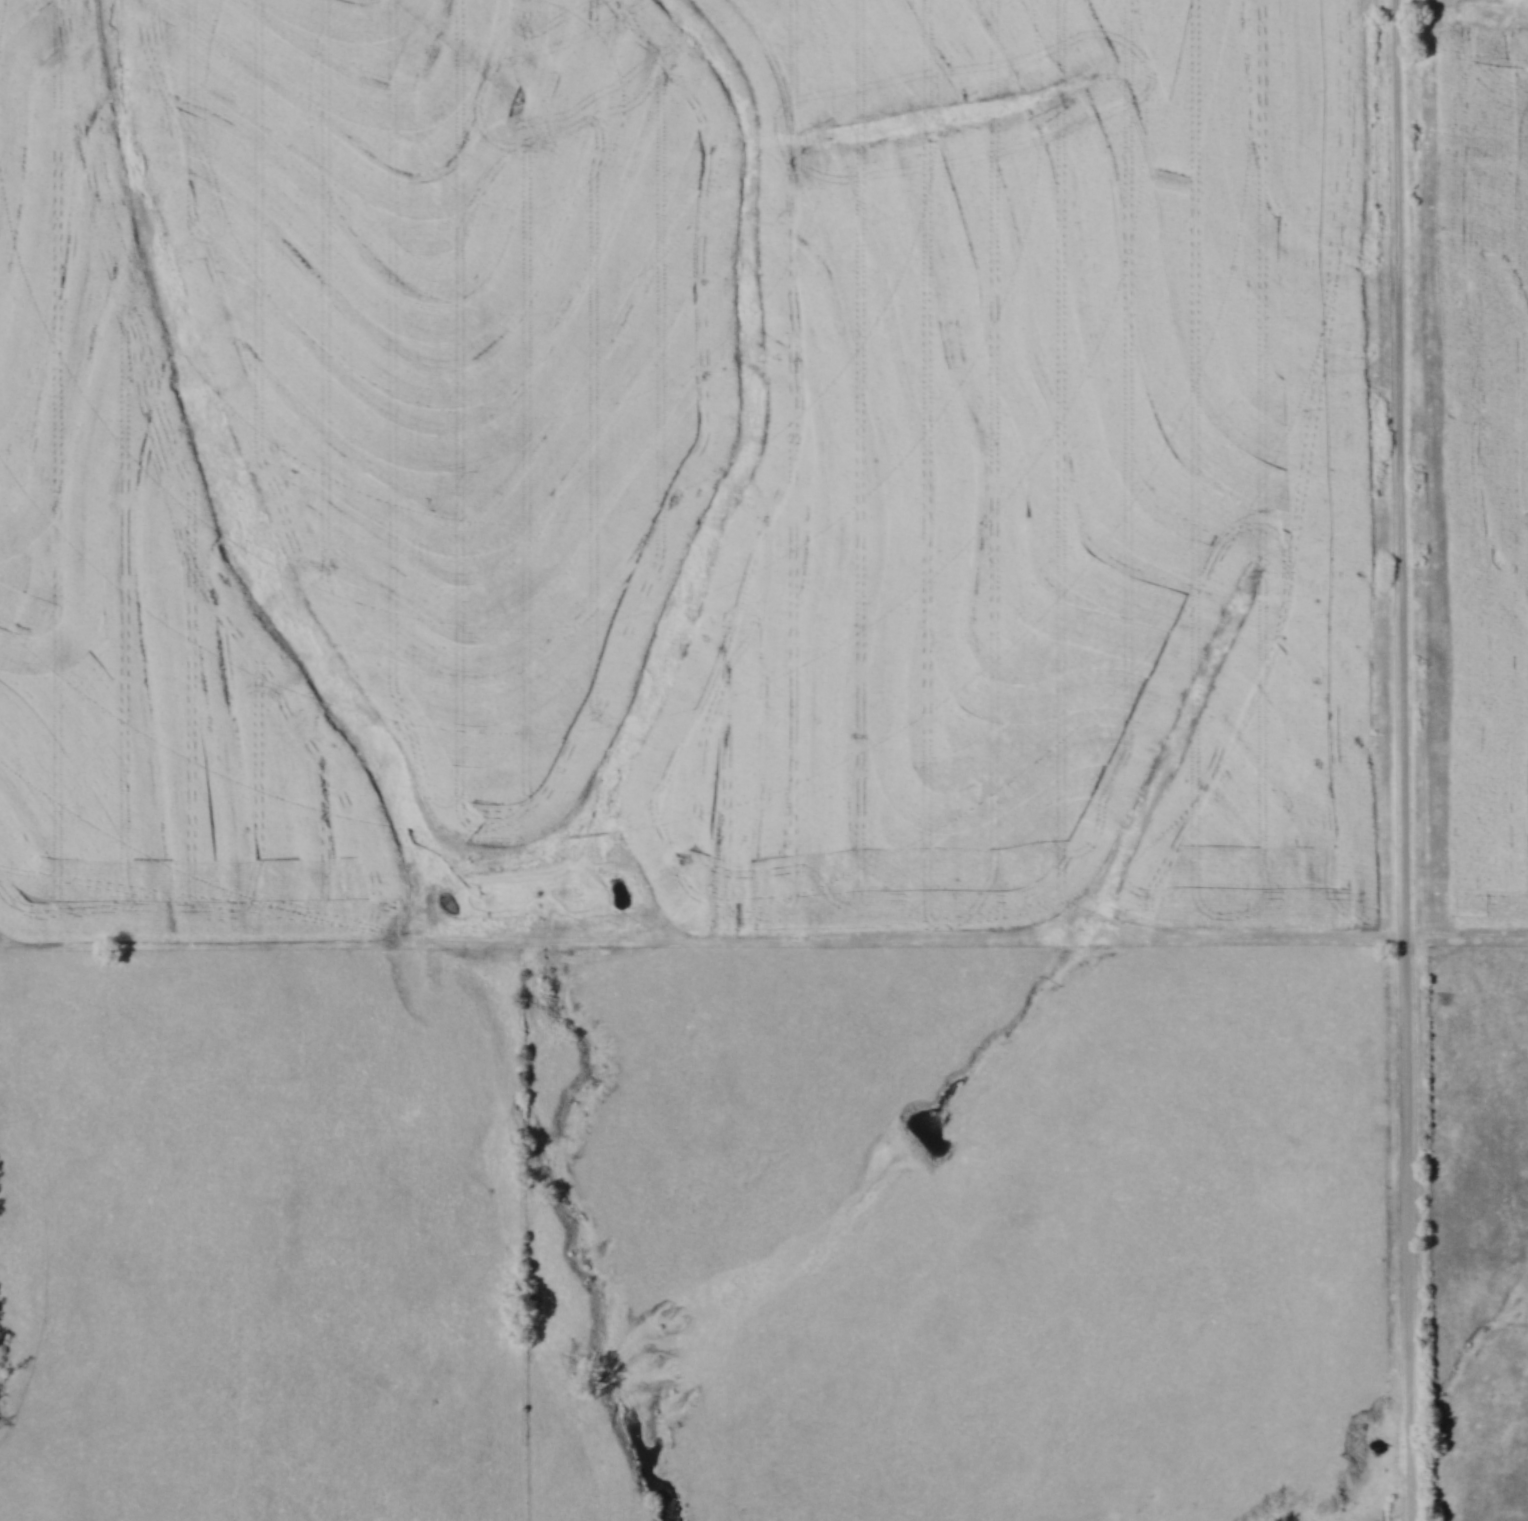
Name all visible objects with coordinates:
road: (1408, 760)

